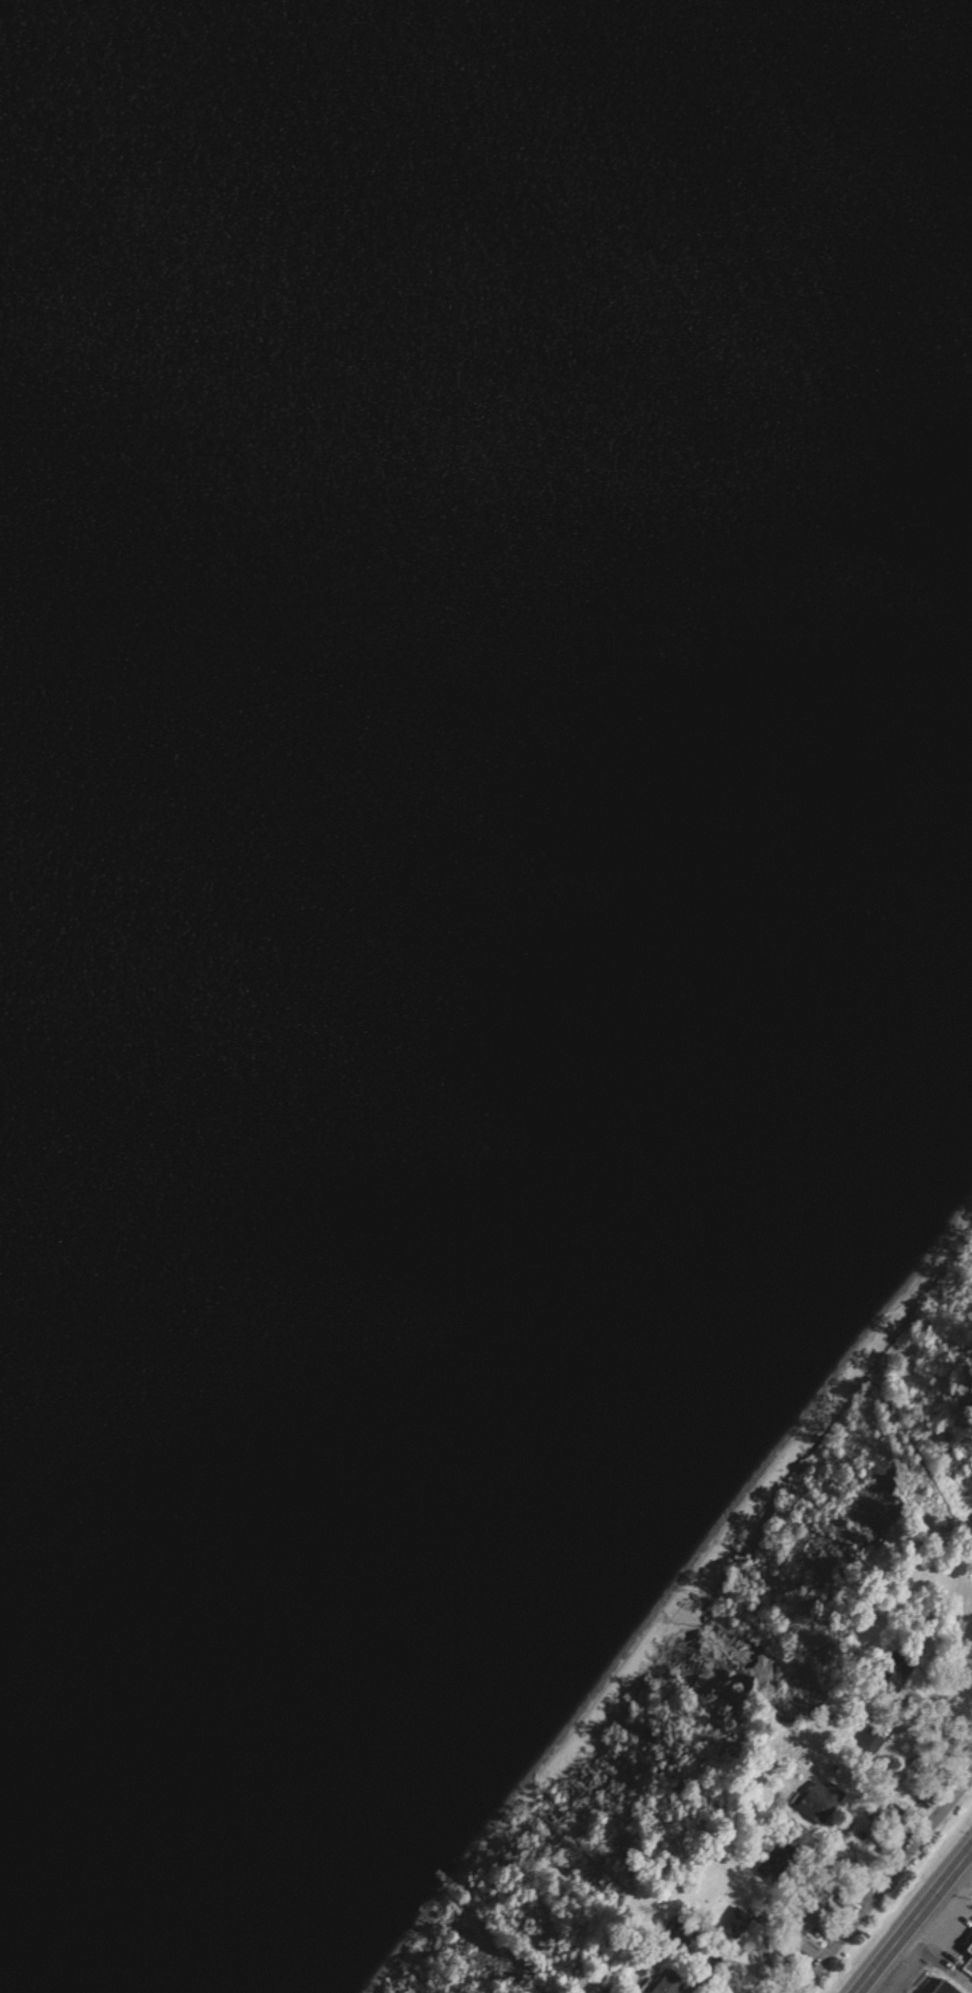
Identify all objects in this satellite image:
building: (872, 1740)
building: (819, 1801)
road: (970, 1857)
road: (887, 1887)
road: (916, 1922)
building: (970, 1951)
building: (968, 1967)
building: (674, 1984)
building: (948, 1988)
building: (604, 1992)

